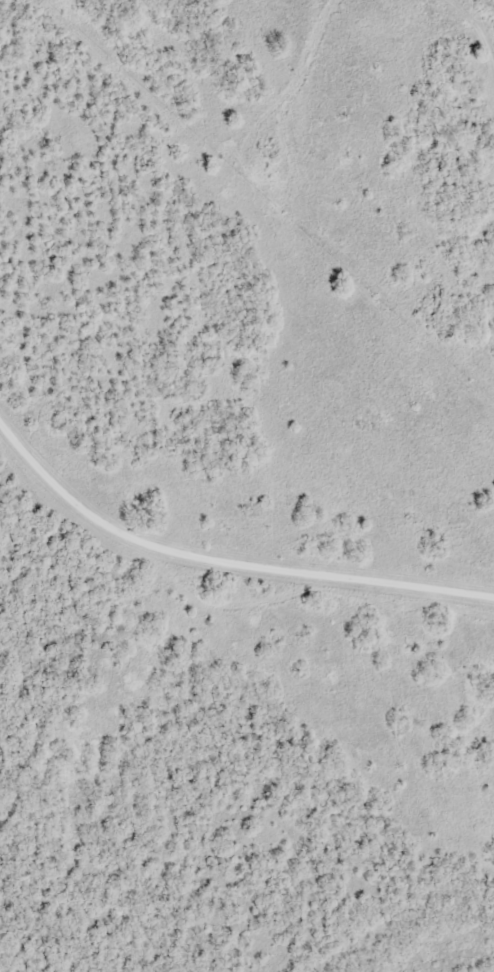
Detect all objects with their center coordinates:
road: (236, 507)

